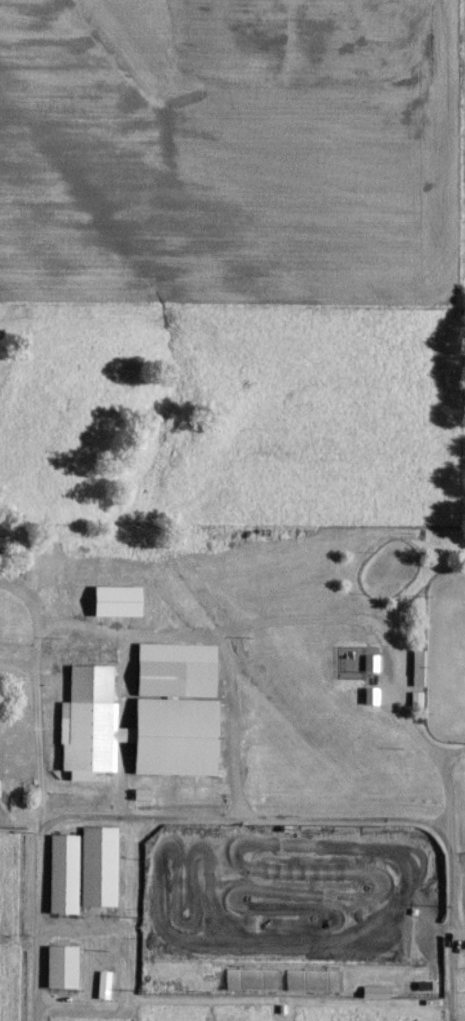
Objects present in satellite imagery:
building: (416, 707)
building: (143, 725)
road: (446, 802)
road: (234, 822)
building: (81, 878)
building: (60, 975)
building: (250, 987)
building: (310, 988)
building: (102, 993)
building: (373, 999)

